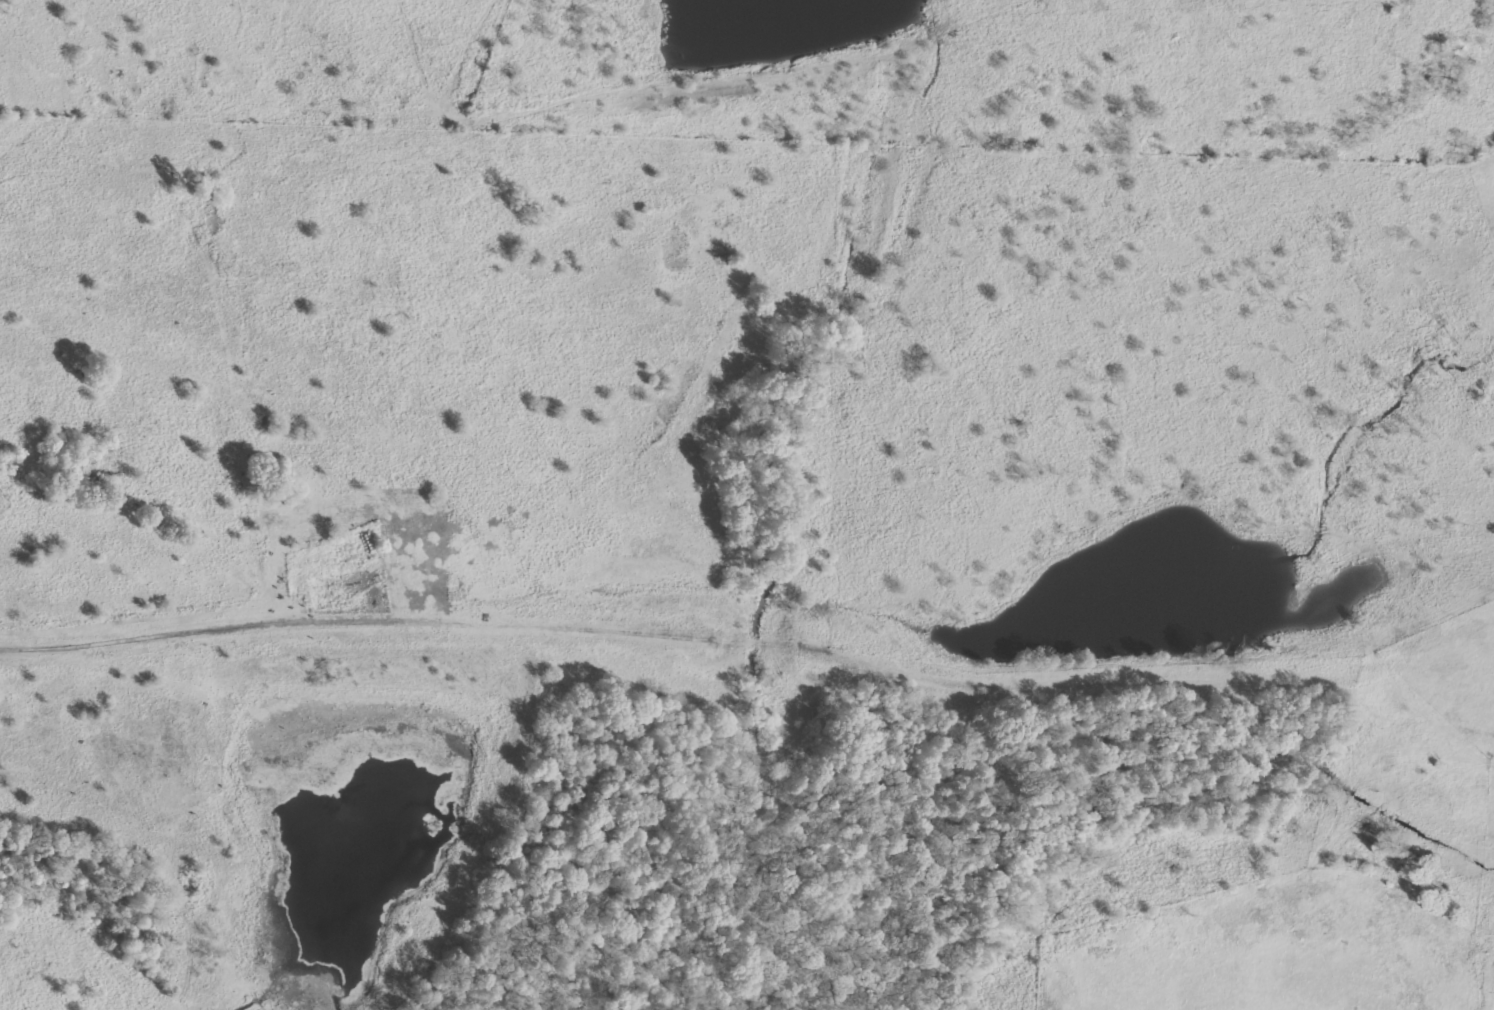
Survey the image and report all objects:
road: (629, 642)
road: (1374, 642)

